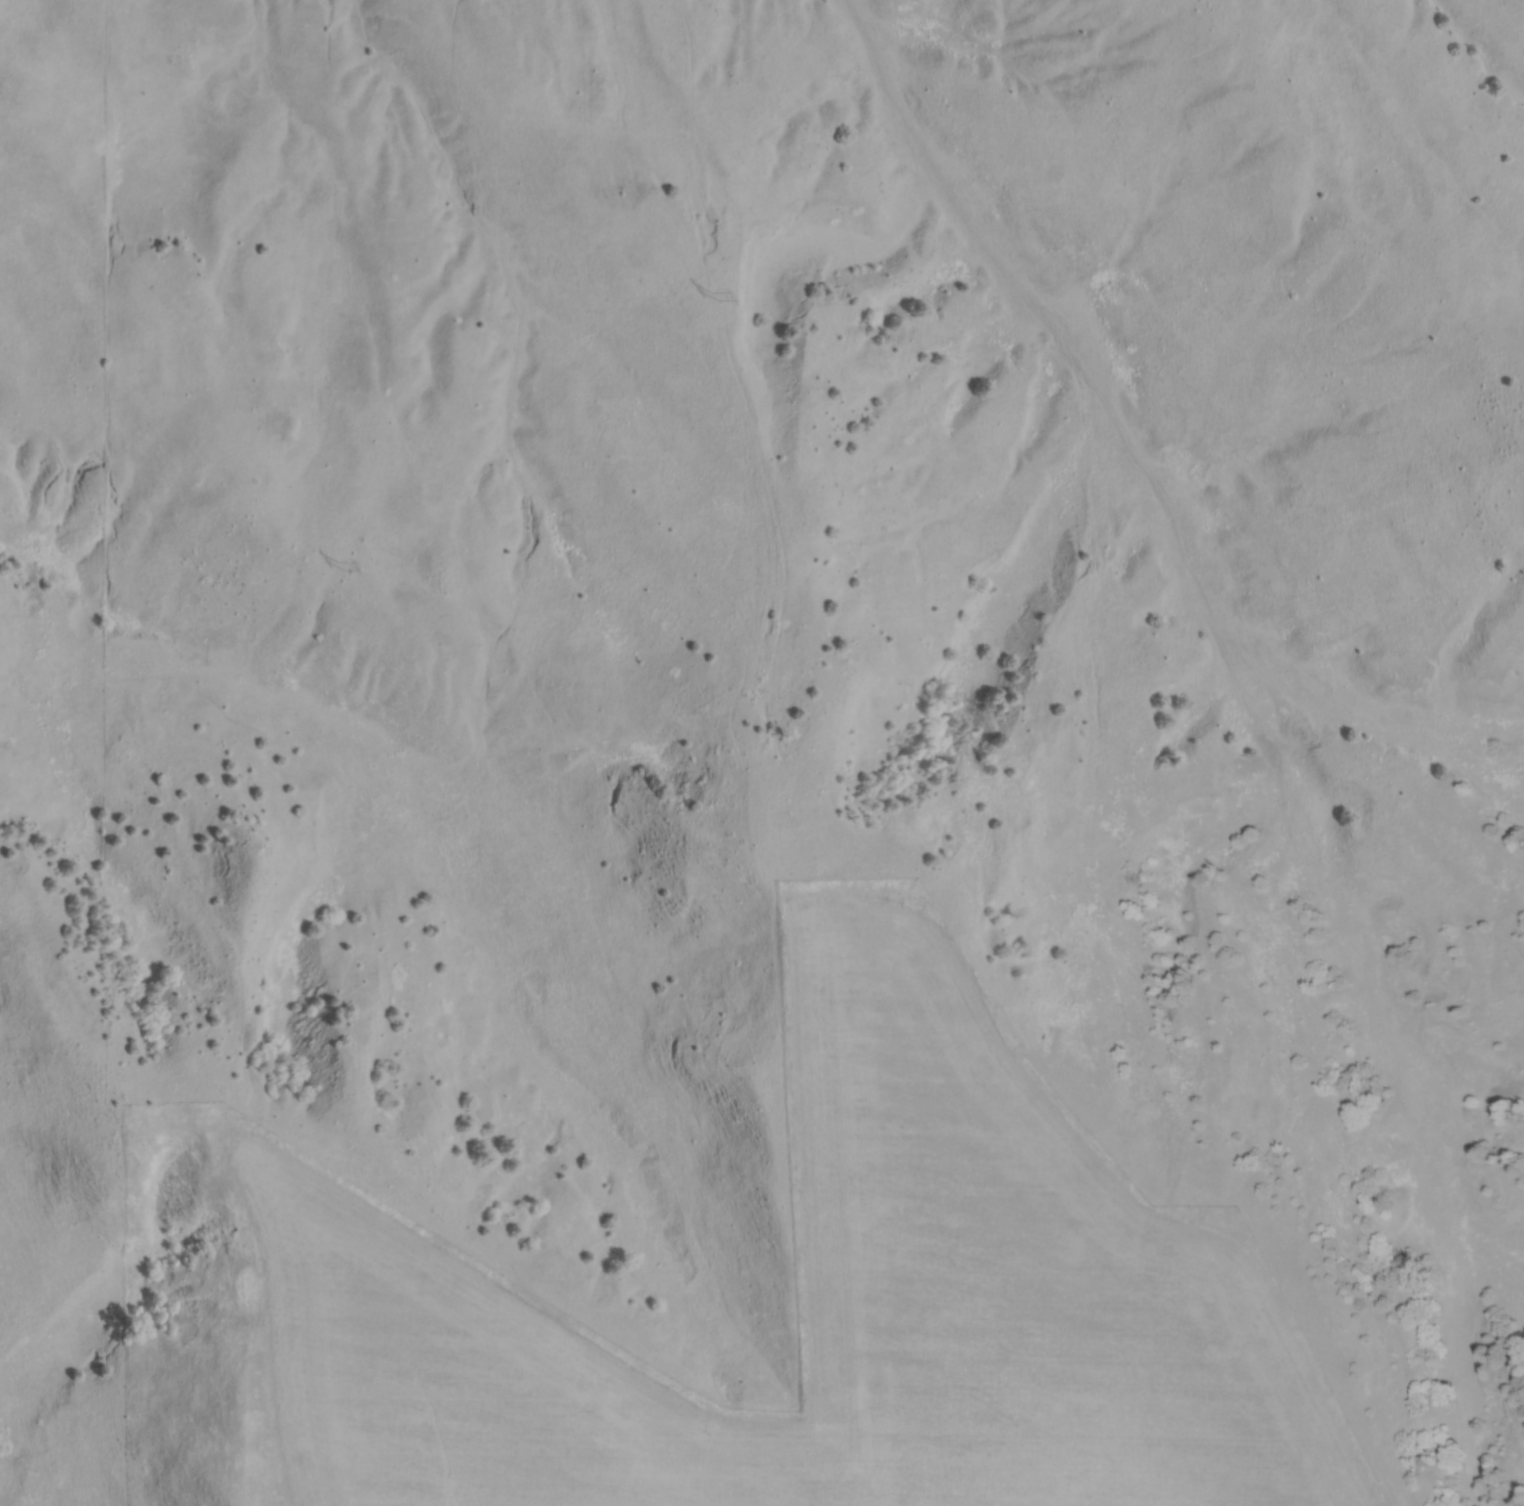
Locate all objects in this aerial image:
power tower: (712, 298)
power tower: (342, 569)

